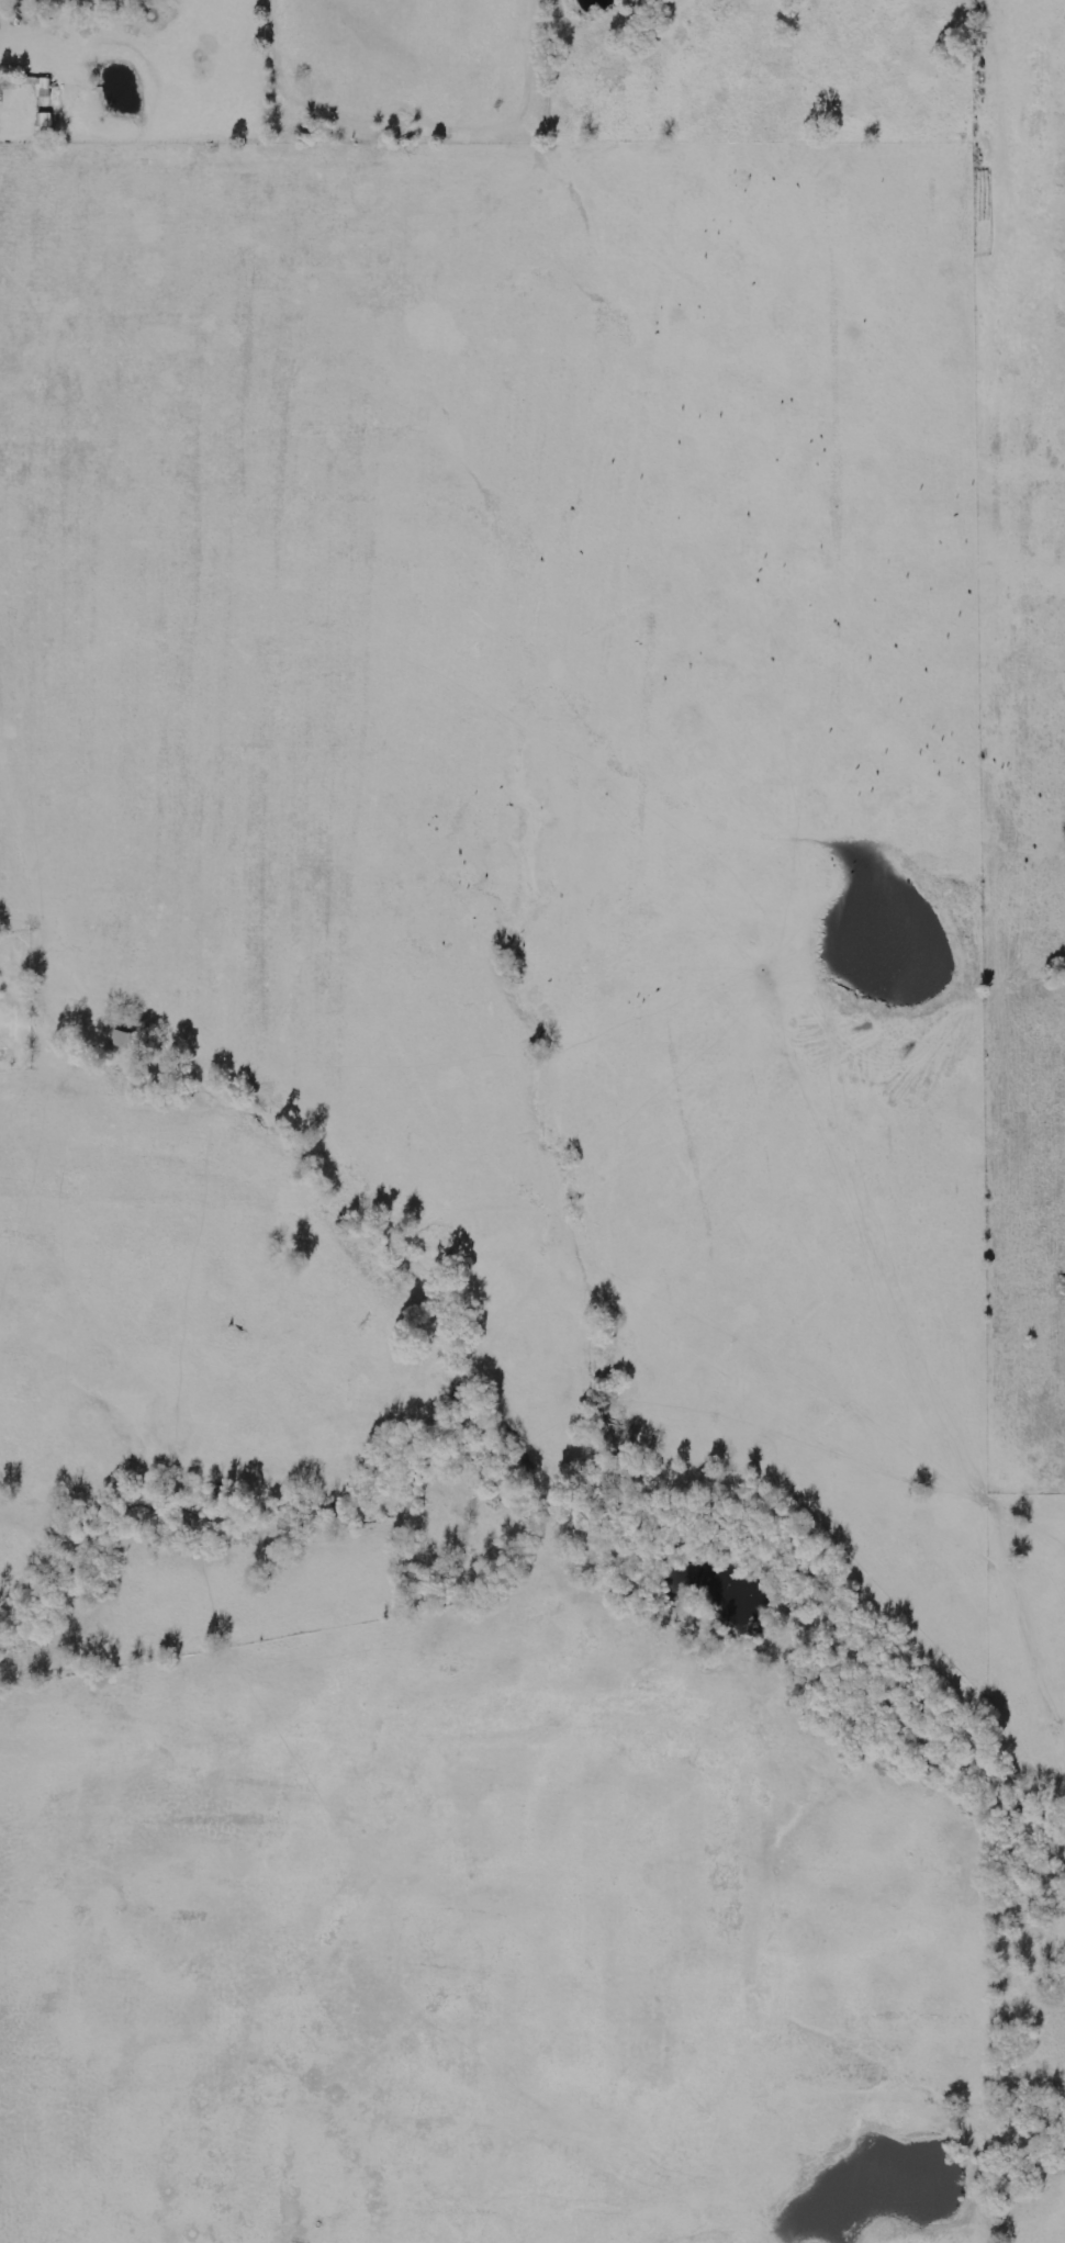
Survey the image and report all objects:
building: (44, 89)
building: (47, 125)
building: (124, 1040)

